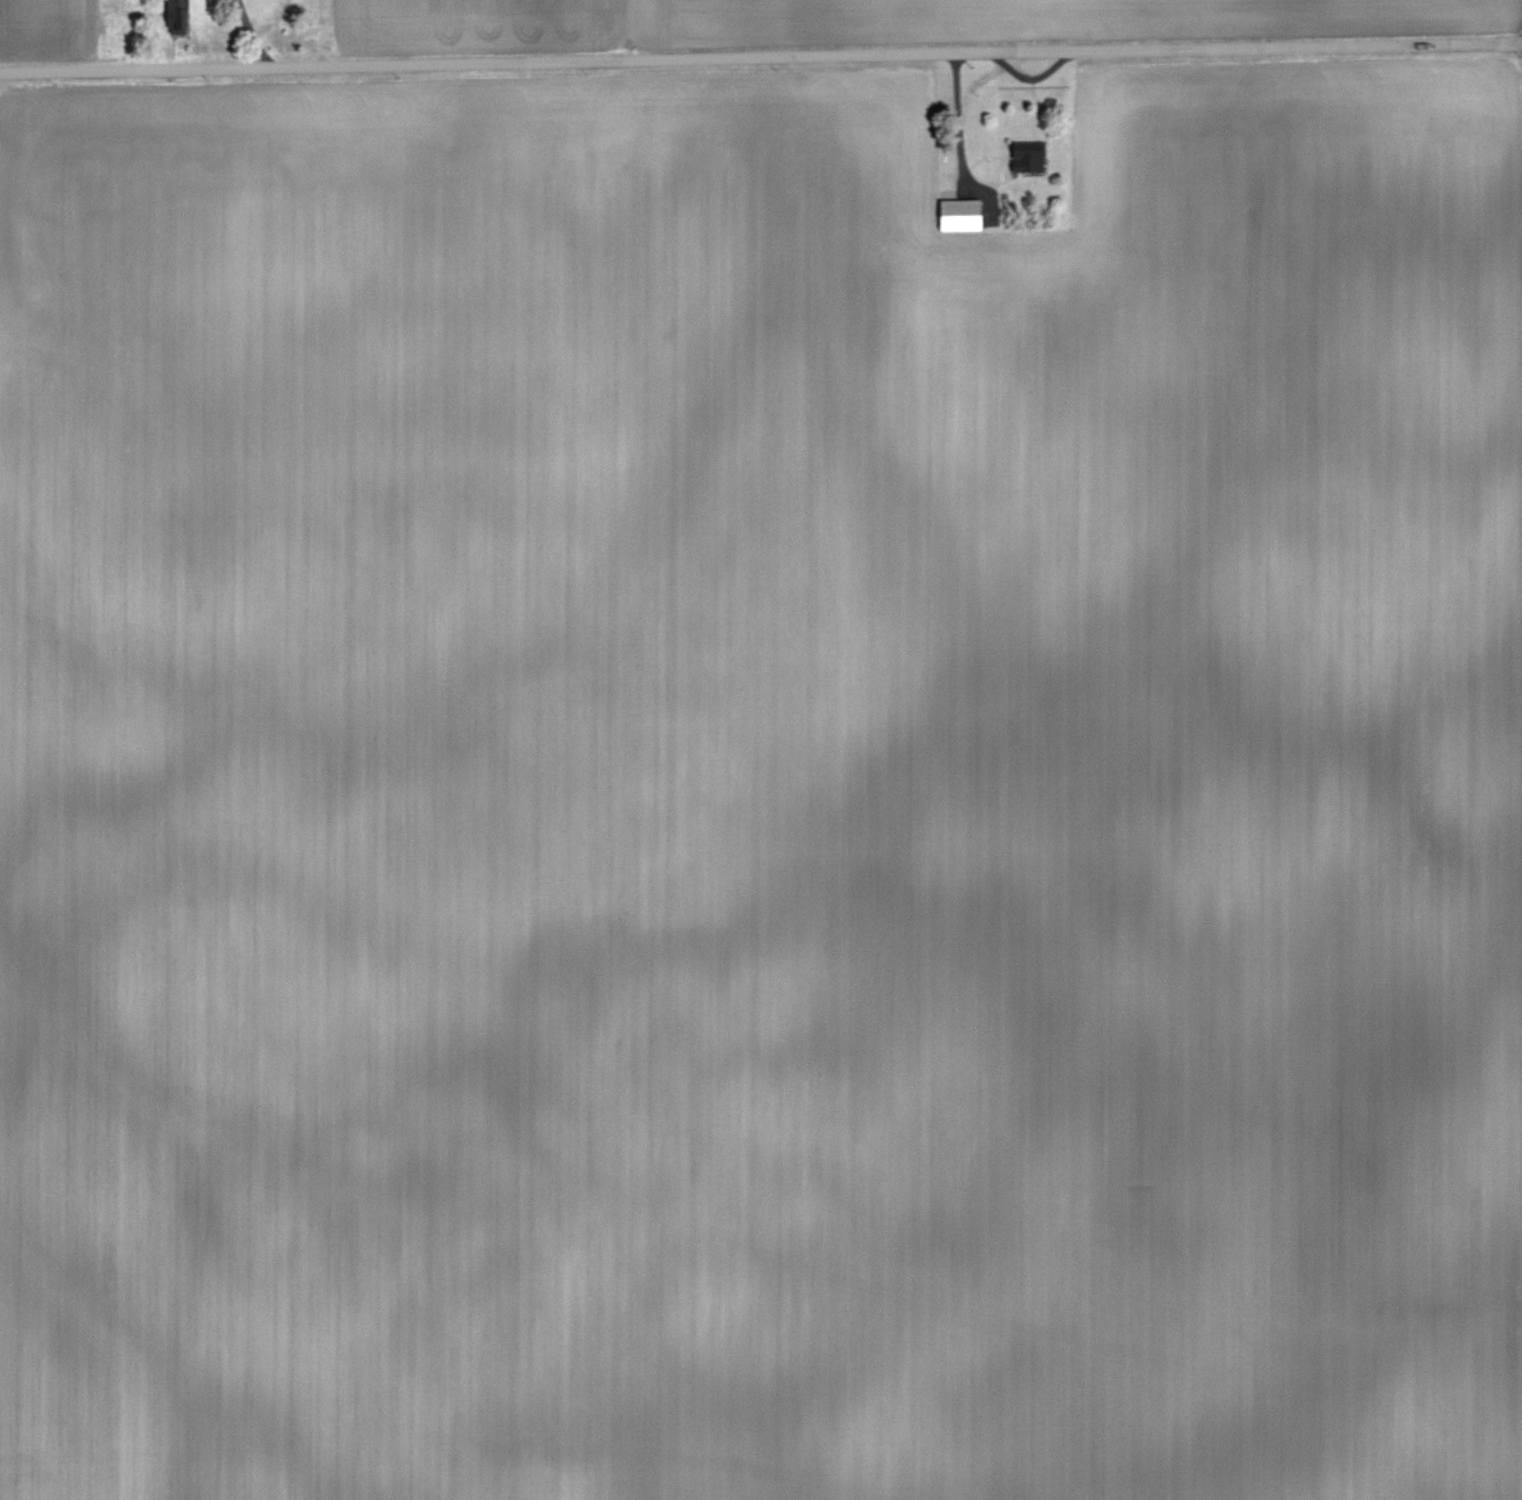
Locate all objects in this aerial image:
building: (179, 15)
road: (761, 61)
building: (1031, 155)
building: (963, 214)

